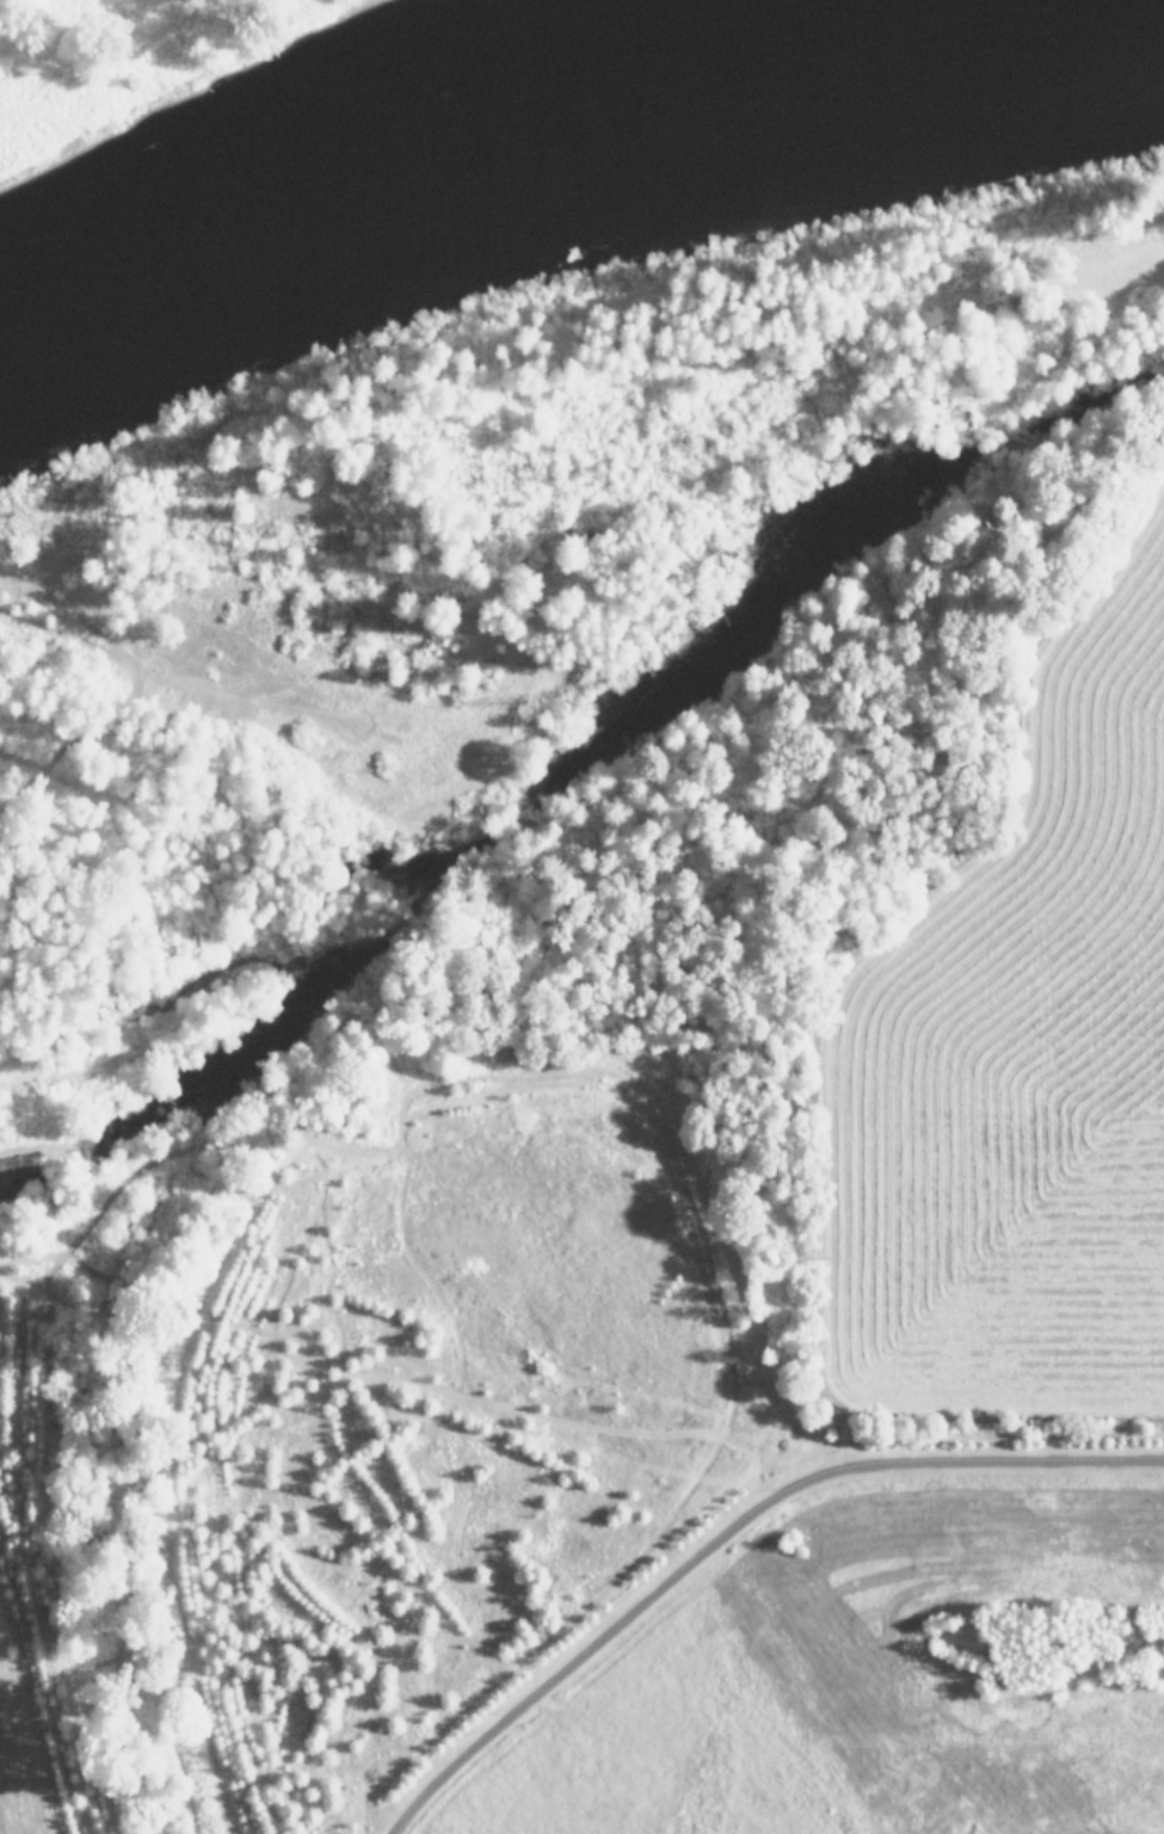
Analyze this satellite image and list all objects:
river: (563, 139)
crop: (738, 1368)

